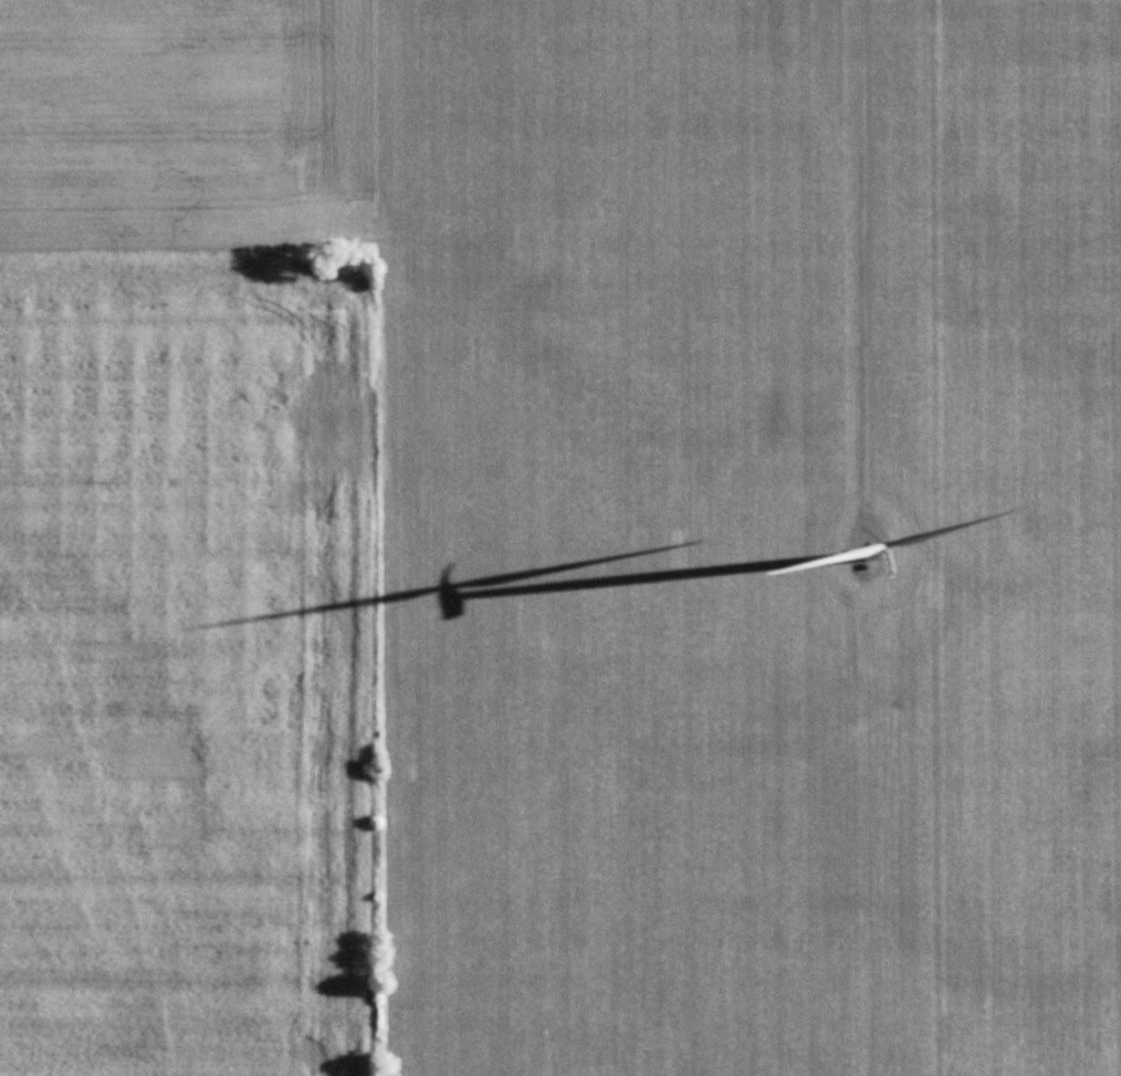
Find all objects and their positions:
road: (846, 243)
wind turbine: (880, 606)

